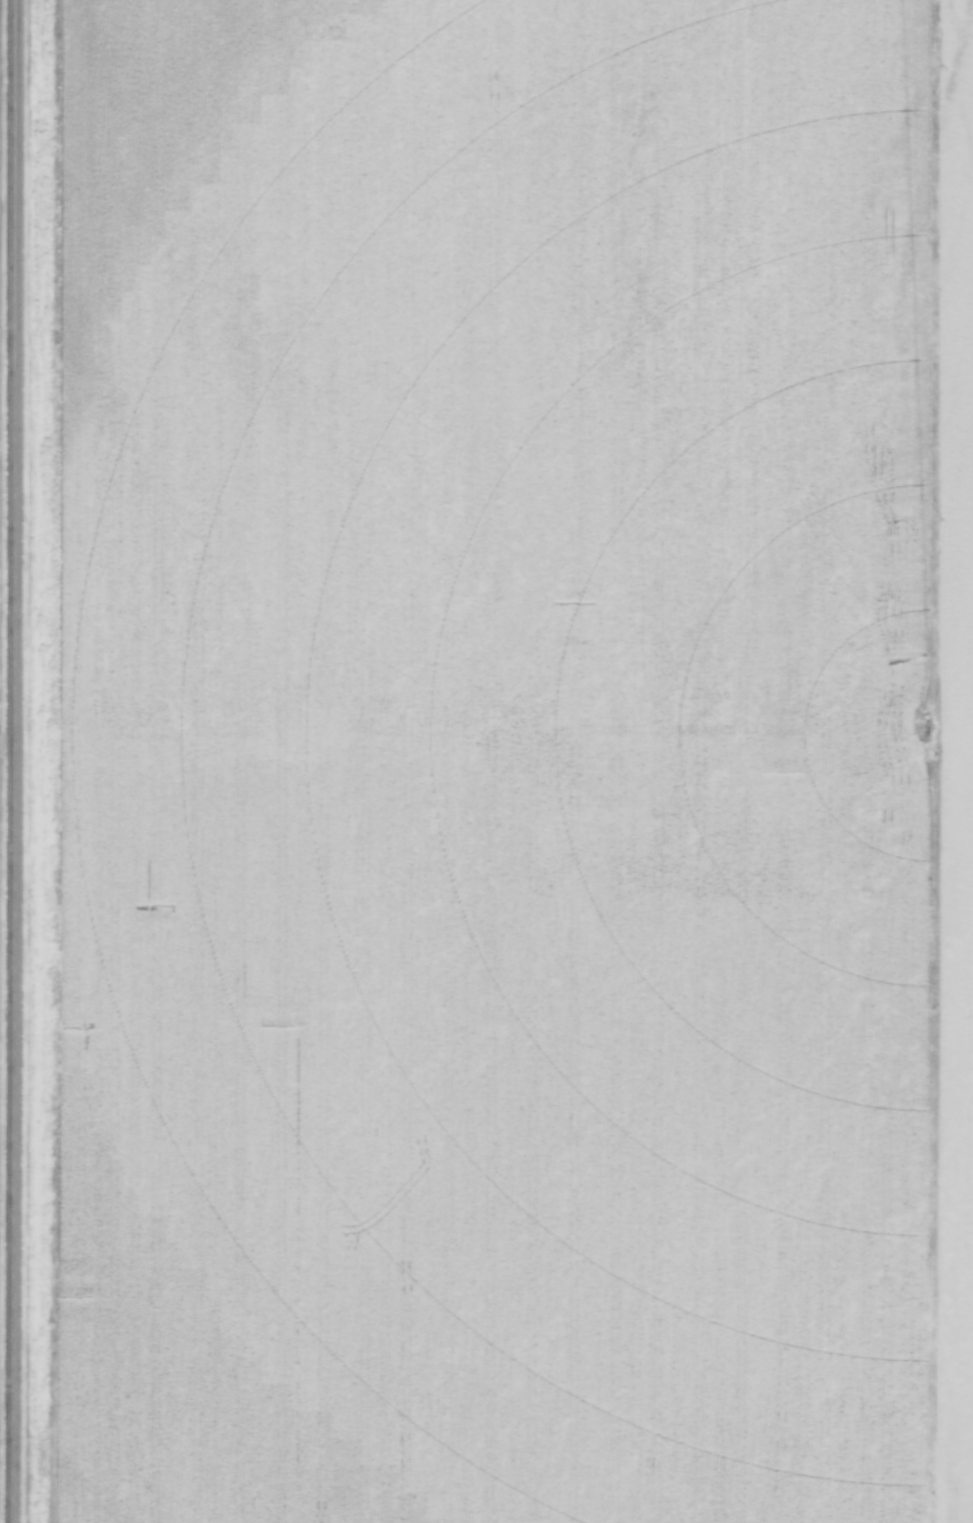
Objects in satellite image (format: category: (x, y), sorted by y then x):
road: (13, 761)

